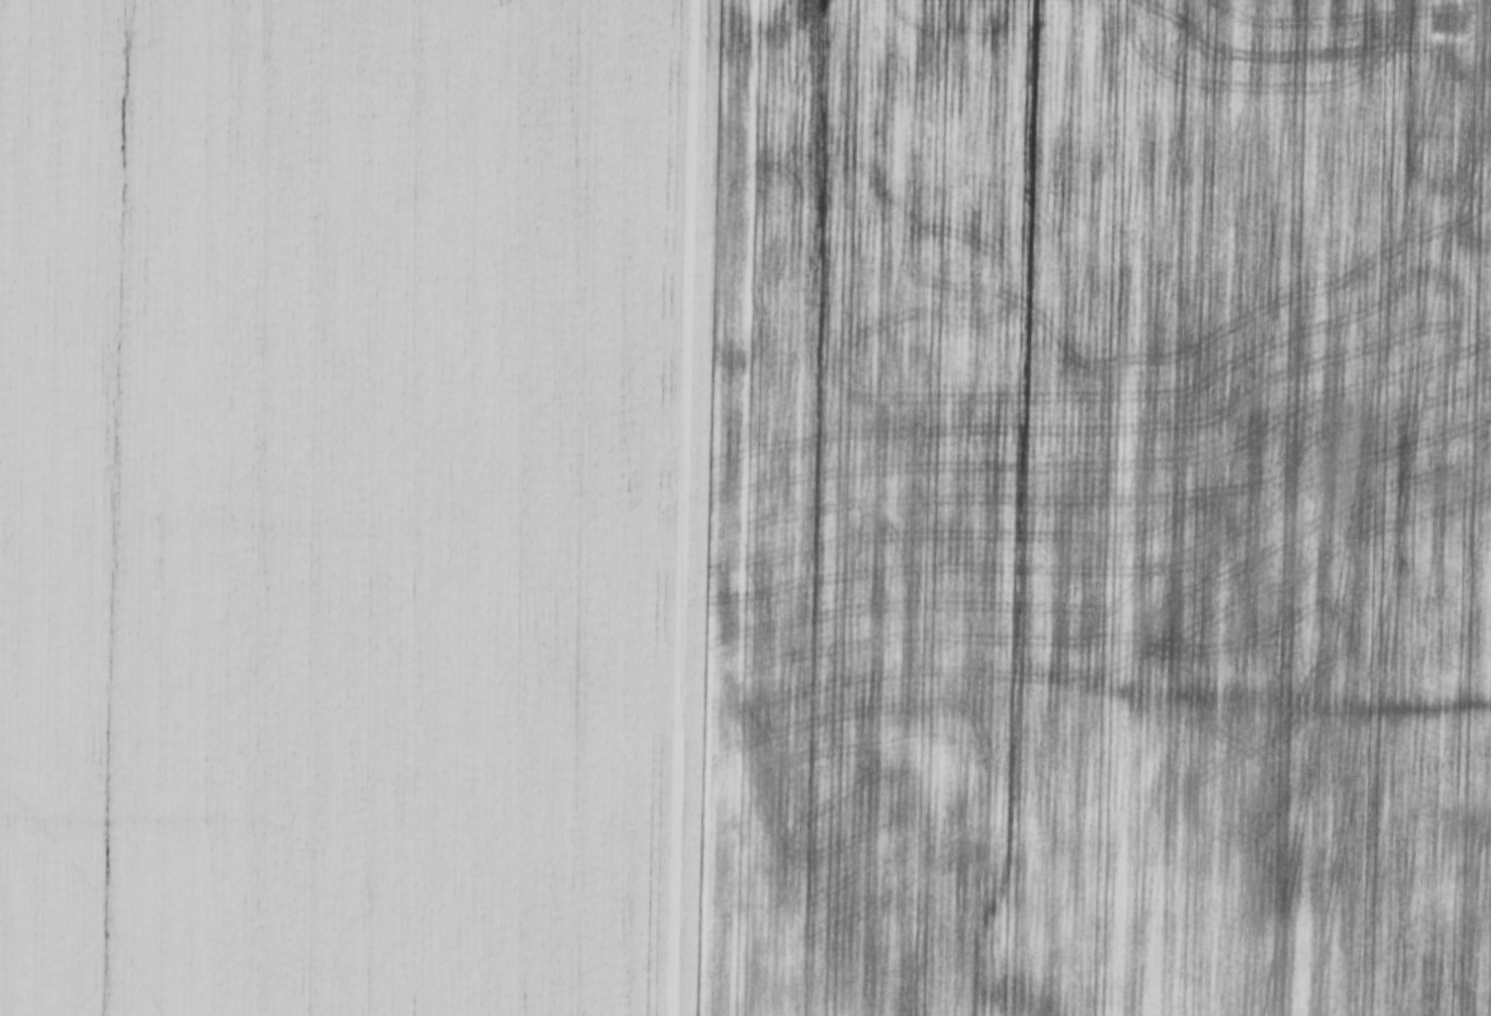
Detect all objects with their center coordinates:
crop: (343, 505)
crop: (1088, 510)

